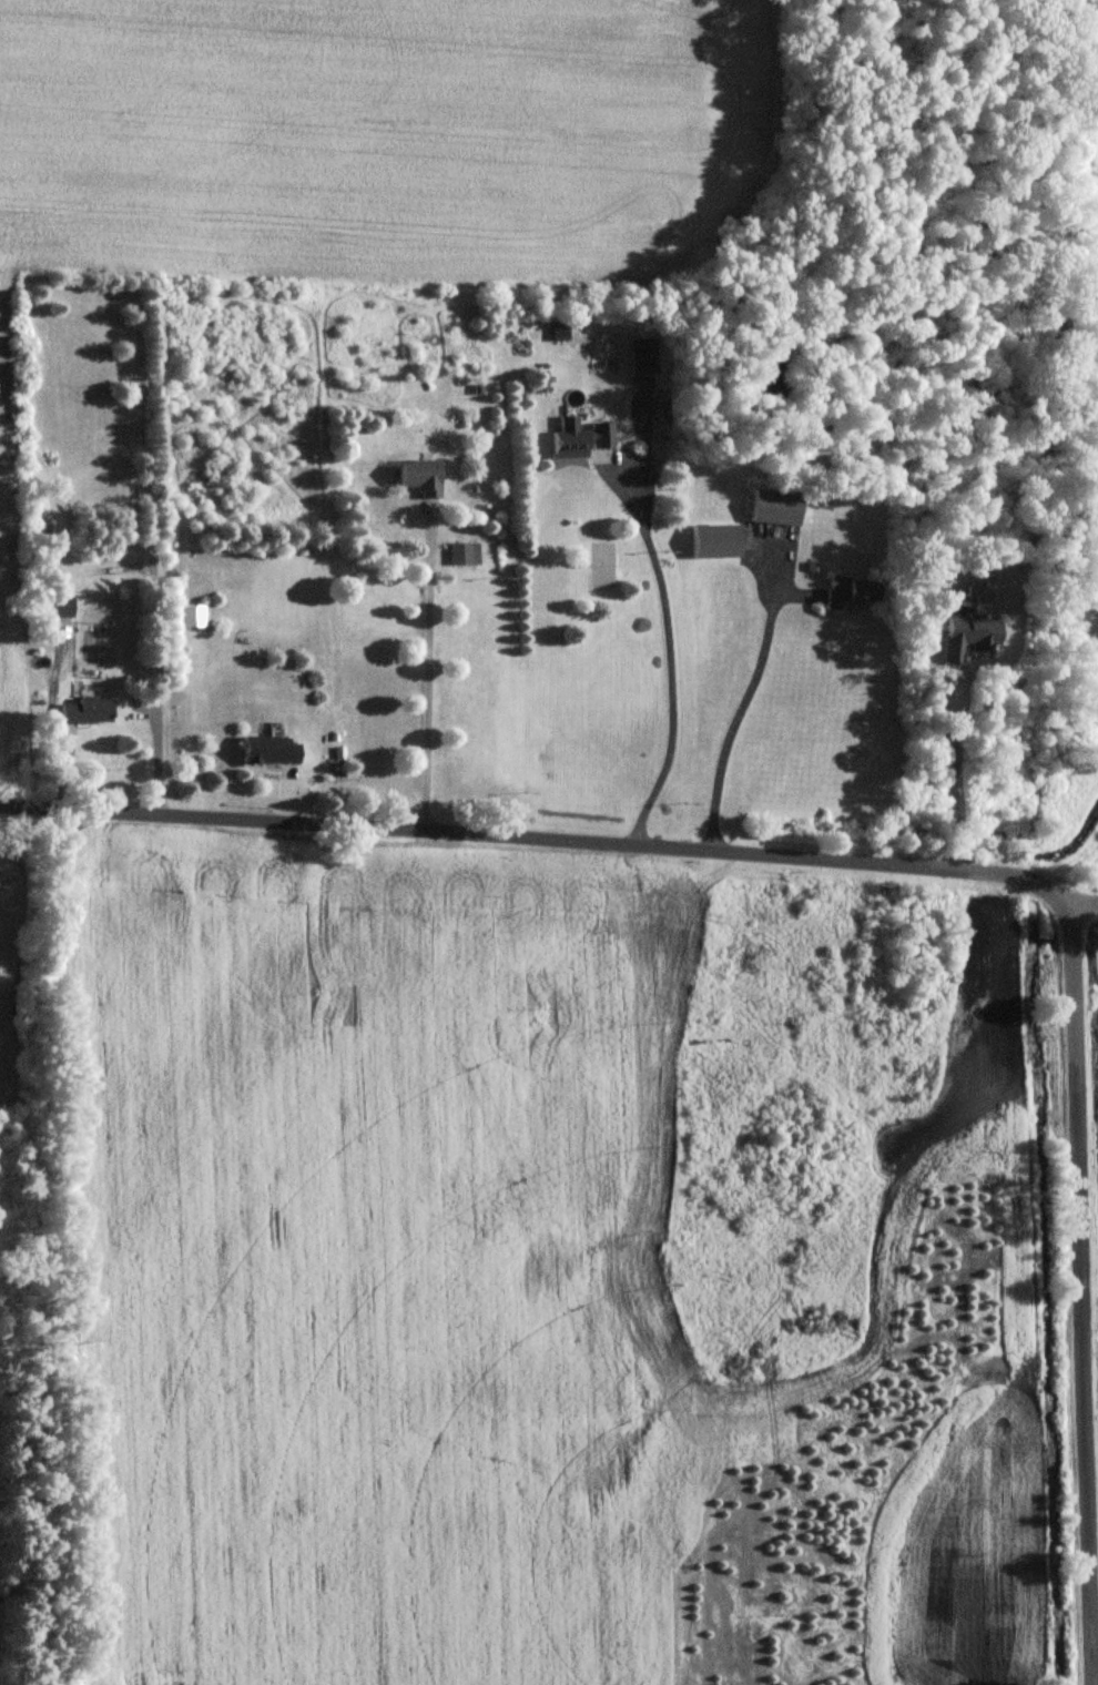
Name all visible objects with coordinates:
building: (557, 329)
building: (639, 355)
building: (579, 436)
building: (419, 476)
building: (774, 506)
building: (714, 539)
building: (464, 551)
building: (847, 592)
building: (59, 607)
building: (192, 616)
building: (965, 636)
road: (672, 658)
road: (428, 672)
building: (83, 709)
road: (733, 713)
building: (267, 748)
road: (953, 752)
road: (536, 839)
road: (1084, 897)
road: (1079, 1290)

